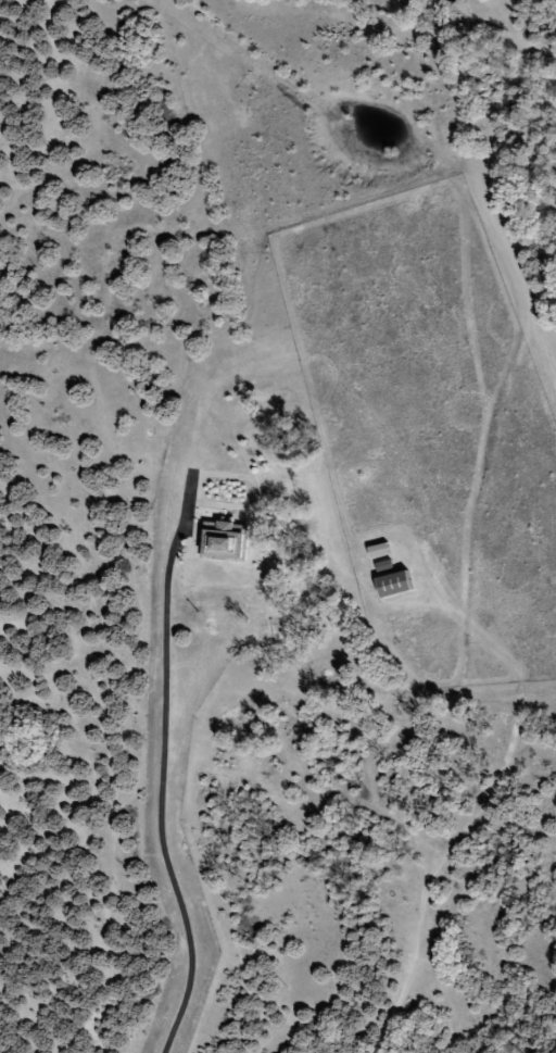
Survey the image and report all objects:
building: (226, 542)
building: (394, 586)

